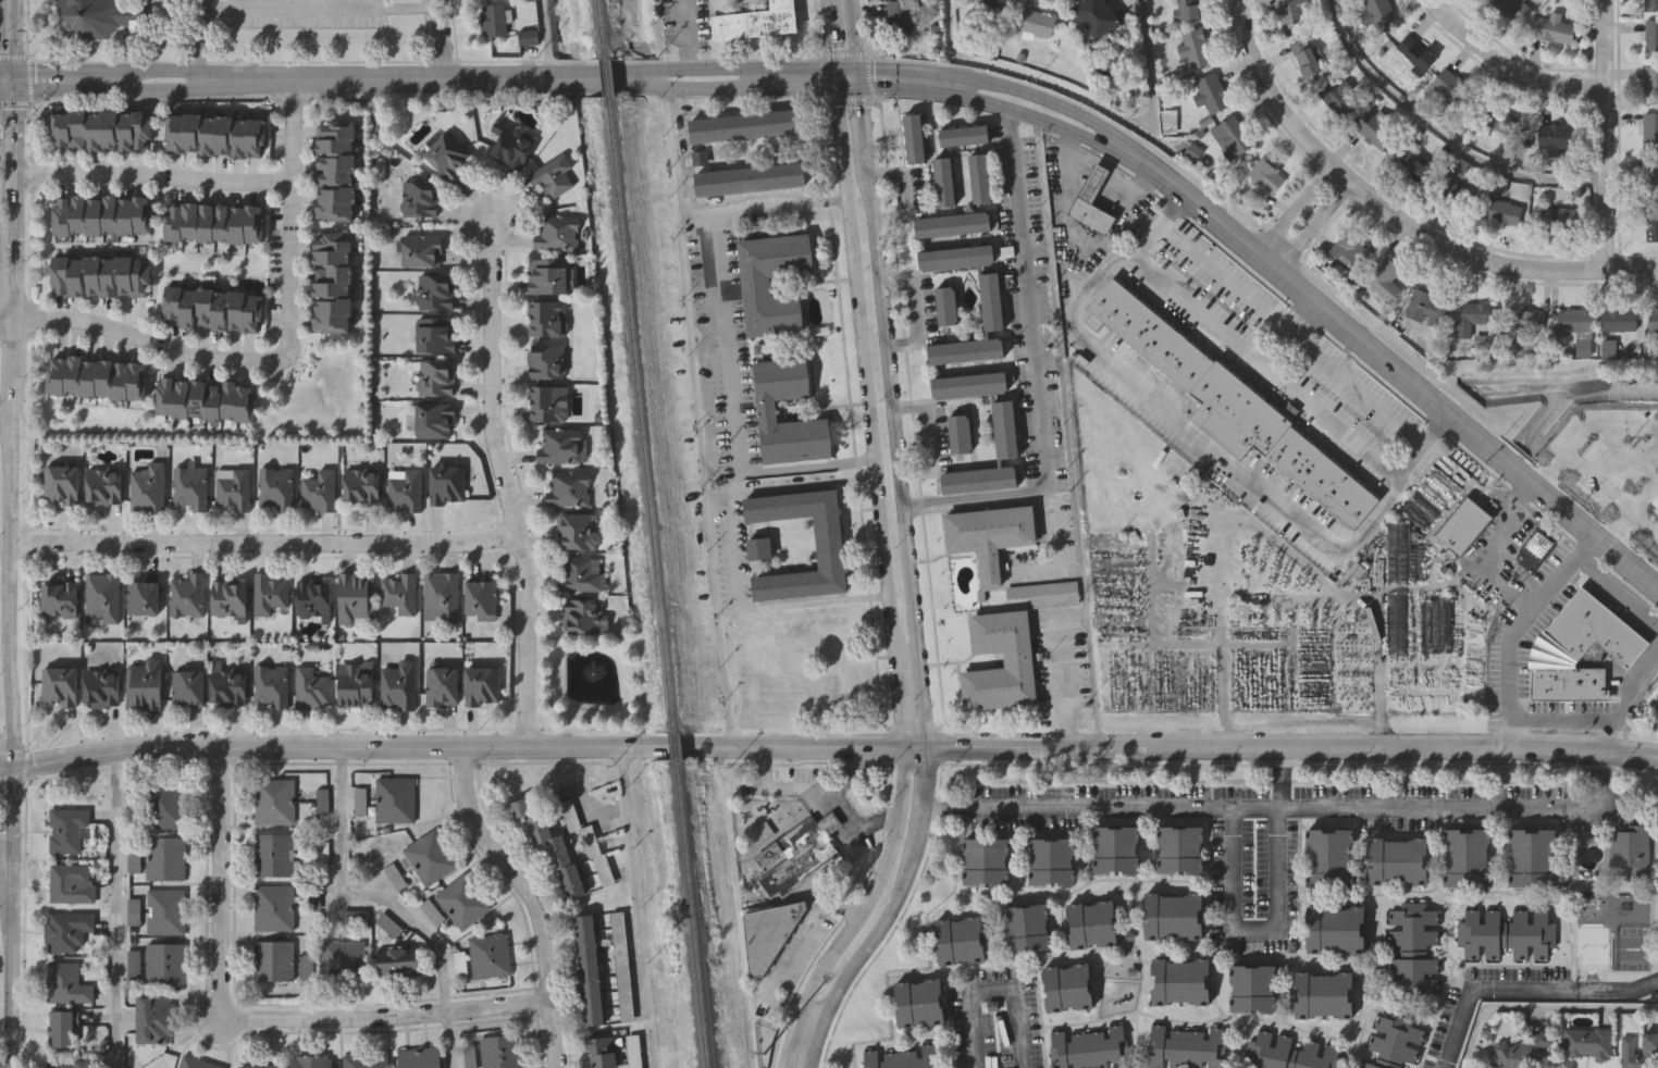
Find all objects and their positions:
building: (985, 2)
building: (1650, 5)
road: (319, 8)
building: (1511, 9)
building: (1187, 10)
building: (1289, 13)
building: (1378, 14)
building: (99, 15)
building: (1096, 15)
building: (899, 17)
building: (493, 18)
building: (755, 21)
building: (1036, 23)
railway: (602, 25)
building: (1554, 28)
road: (684, 33)
building: (527, 36)
road: (546, 37)
road: (442, 38)
road: (833, 38)
road: (854, 38)
building: (1650, 38)
road: (12, 39)
road: (198, 39)
building: (1195, 48)
building: (166, 52)
building: (1415, 53)
building: (1306, 58)
road: (746, 65)
traffic signals: (837, 65)
traffic signals: (857, 65)
road: (896, 66)
road: (1508, 66)
railway: (607, 75)
road: (594, 76)
road: (275, 78)
traffic signals: (12, 79)
road: (839, 80)
road: (859, 82)
building: (1650, 85)
road: (706, 86)
road: (807, 86)
traffic signals: (839, 86)
road: (849, 86)
traffic signals: (859, 86)
building: (1451, 89)
road: (1028, 92)
building: (1211, 92)
building: (1339, 97)
road: (1082, 98)
road: (986, 100)
building: (1493, 116)
building: (1167, 121)
road: (863, 122)
building: (745, 124)
road: (12, 125)
building: (1369, 126)
building: (101, 129)
building: (1650, 132)
road: (1440, 133)
building: (215, 134)
building: (962, 134)
road: (1605, 134)
building: (912, 136)
building: (1230, 137)
building: (1557, 139)
building: (510, 147)
building: (446, 156)
building: (1460, 167)
building: (336, 170)
road: (151, 173)
building: (1265, 175)
building: (979, 176)
building: (1650, 176)
building: (550, 177)
building: (751, 178)
building: (943, 181)
building: (1562, 193)
building: (418, 198)
building: (1090, 200)
road: (765, 206)
road: (11, 207)
road: (1296, 208)
building: (1500, 211)
road: (1396, 212)
road: (289, 214)
building: (100, 215)
building: (1560, 219)
road: (1314, 223)
building: (1651, 223)
building: (214, 224)
building: (952, 225)
road: (1159, 225)
building: (556, 233)
building: (1351, 249)
building: (419, 250)
building: (101, 274)
building: (549, 276)
road: (11, 280)
building: (1384, 282)
building: (332, 283)
building: (757, 283)
building: (434, 291)
building: (990, 301)
building: (1426, 306)
building: (945, 307)
building: (211, 309)
road: (918, 310)
road: (5, 316)
building: (545, 319)
building: (1518, 319)
building: (1476, 320)
building: (1619, 320)
building: (1653, 321)
building: (1573, 322)
building: (434, 335)
road: (1290, 335)
road: (148, 339)
road: (729, 339)
road: (1385, 360)
building: (544, 361)
road: (1265, 364)
road: (1036, 370)
building: (96, 377)
building: (434, 380)
building: (206, 401)
building: (546, 402)
building: (1232, 406)
building: (768, 407)
railway: (640, 415)
road: (698, 415)
building: (432, 421)
building: (1002, 431)
building: (957, 432)
road: (928, 438)
road: (1208, 443)
road: (1423, 443)
building: (559, 446)
road: (895, 452)
road: (809, 464)
road: (500, 483)
road: (791, 483)
building: (60, 484)
road: (1594, 484)
building: (445, 485)
building: (102, 486)
building: (359, 486)
building: (146, 487)
building: (188, 487)
building: (232, 488)
building: (275, 488)
building: (567, 488)
building: (403, 489)
building: (318, 490)
building: (1648, 493)
building: (1430, 498)
road: (975, 506)
building: (1463, 524)
building: (576, 531)
road: (1051, 533)
building: (988, 537)
road: (5, 542)
road: (260, 542)
building: (830, 546)
building: (759, 547)
road: (735, 549)
road: (1489, 550)
building: (1397, 552)
building: (1414, 562)
building: (1166, 570)
building: (579, 574)
road: (889, 591)
building: (1047, 592)
road: (1616, 592)
building: (397, 593)
building: (268, 594)
building: (185, 595)
building: (440, 597)
building: (100, 598)
building: (141, 598)
building: (227, 598)
building: (312, 598)
building: (355, 598)
building: (58, 599)
building: (480, 599)
road: (816, 600)
road: (1377, 612)
building: (580, 617)
building: (1396, 624)
building: (1434, 626)
road: (1514, 626)
building: (1576, 650)
building: (1019, 659)
building: (789, 663)
road: (1064, 681)
building: (143, 684)
building: (354, 684)
building: (270, 685)
building: (396, 685)
building: (481, 685)
building: (58, 686)
building: (441, 686)
building: (186, 687)
building: (99, 688)
building: (227, 688)
building: (310, 688)
road: (1624, 693)
road: (1562, 721)
railway: (672, 745)
road: (1291, 747)
road: (461, 748)
road: (846, 774)
road: (926, 780)
road: (821, 792)
building: (397, 799)
building: (275, 800)
building: (134, 806)
building: (166, 806)
road: (5, 811)
road: (1291, 812)
building: (65, 828)
building: (583, 833)
building: (764, 833)
building: (552, 845)
building: (1115, 847)
building: (1179, 847)
building: (1632, 849)
building: (800, 853)
building: (274, 854)
building: (431, 856)
building: (1328, 856)
building: (1467, 856)
building: (1533, 856)
building: (166, 857)
building: (985, 859)
building: (1051, 859)
building: (1398, 859)
road: (5, 881)
building: (67, 881)
road: (363, 894)
road: (532, 898)
building: (465, 901)
building: (275, 907)
building: (135, 908)
road: (635, 908)
road: (113, 910)
building: (166, 910)
railway: (691, 914)
building: (1173, 914)
road: (1277, 919)
road: (882, 922)
building: (1091, 922)
building: (389, 924)
building: (1026, 927)
building: (1335, 928)
building: (66, 929)
building: (767, 933)
building: (1506, 933)
building: (958, 940)
building: (1413, 951)
building: (491, 955)
road: (783, 955)
building: (274, 959)
building: (344, 959)
building: (135, 961)
building: (166, 961)
building: (399, 963)
building: (623, 965)
building: (306, 969)
building: (590, 969)
building: (1180, 979)
building: (65, 982)
building: (1068, 985)
building: (1253, 985)
road: (5, 988)
road: (1481, 989)
road: (1616, 989)
building: (1324, 992)
road: (999, 993)
building: (917, 1002)
road: (1537, 1011)
building: (153, 1018)
road: (257, 1018)
building: (61, 1029)
road: (447, 1040)
building: (1394, 1041)
building: (1586, 1041)
road: (809, 1043)
building: (1185, 1046)
building: (1089, 1047)
building: (1638, 1047)
building: (1521, 1048)
building: (502, 1051)
building: (603, 1051)
building: (635, 1051)
building: (1289, 1053)
building: (420, 1057)
building: (902, 1058)
building: (367, 1059)
building: (312, 1060)
building: (66, 1063)
building: (197, 1063)
building: (260, 1066)

